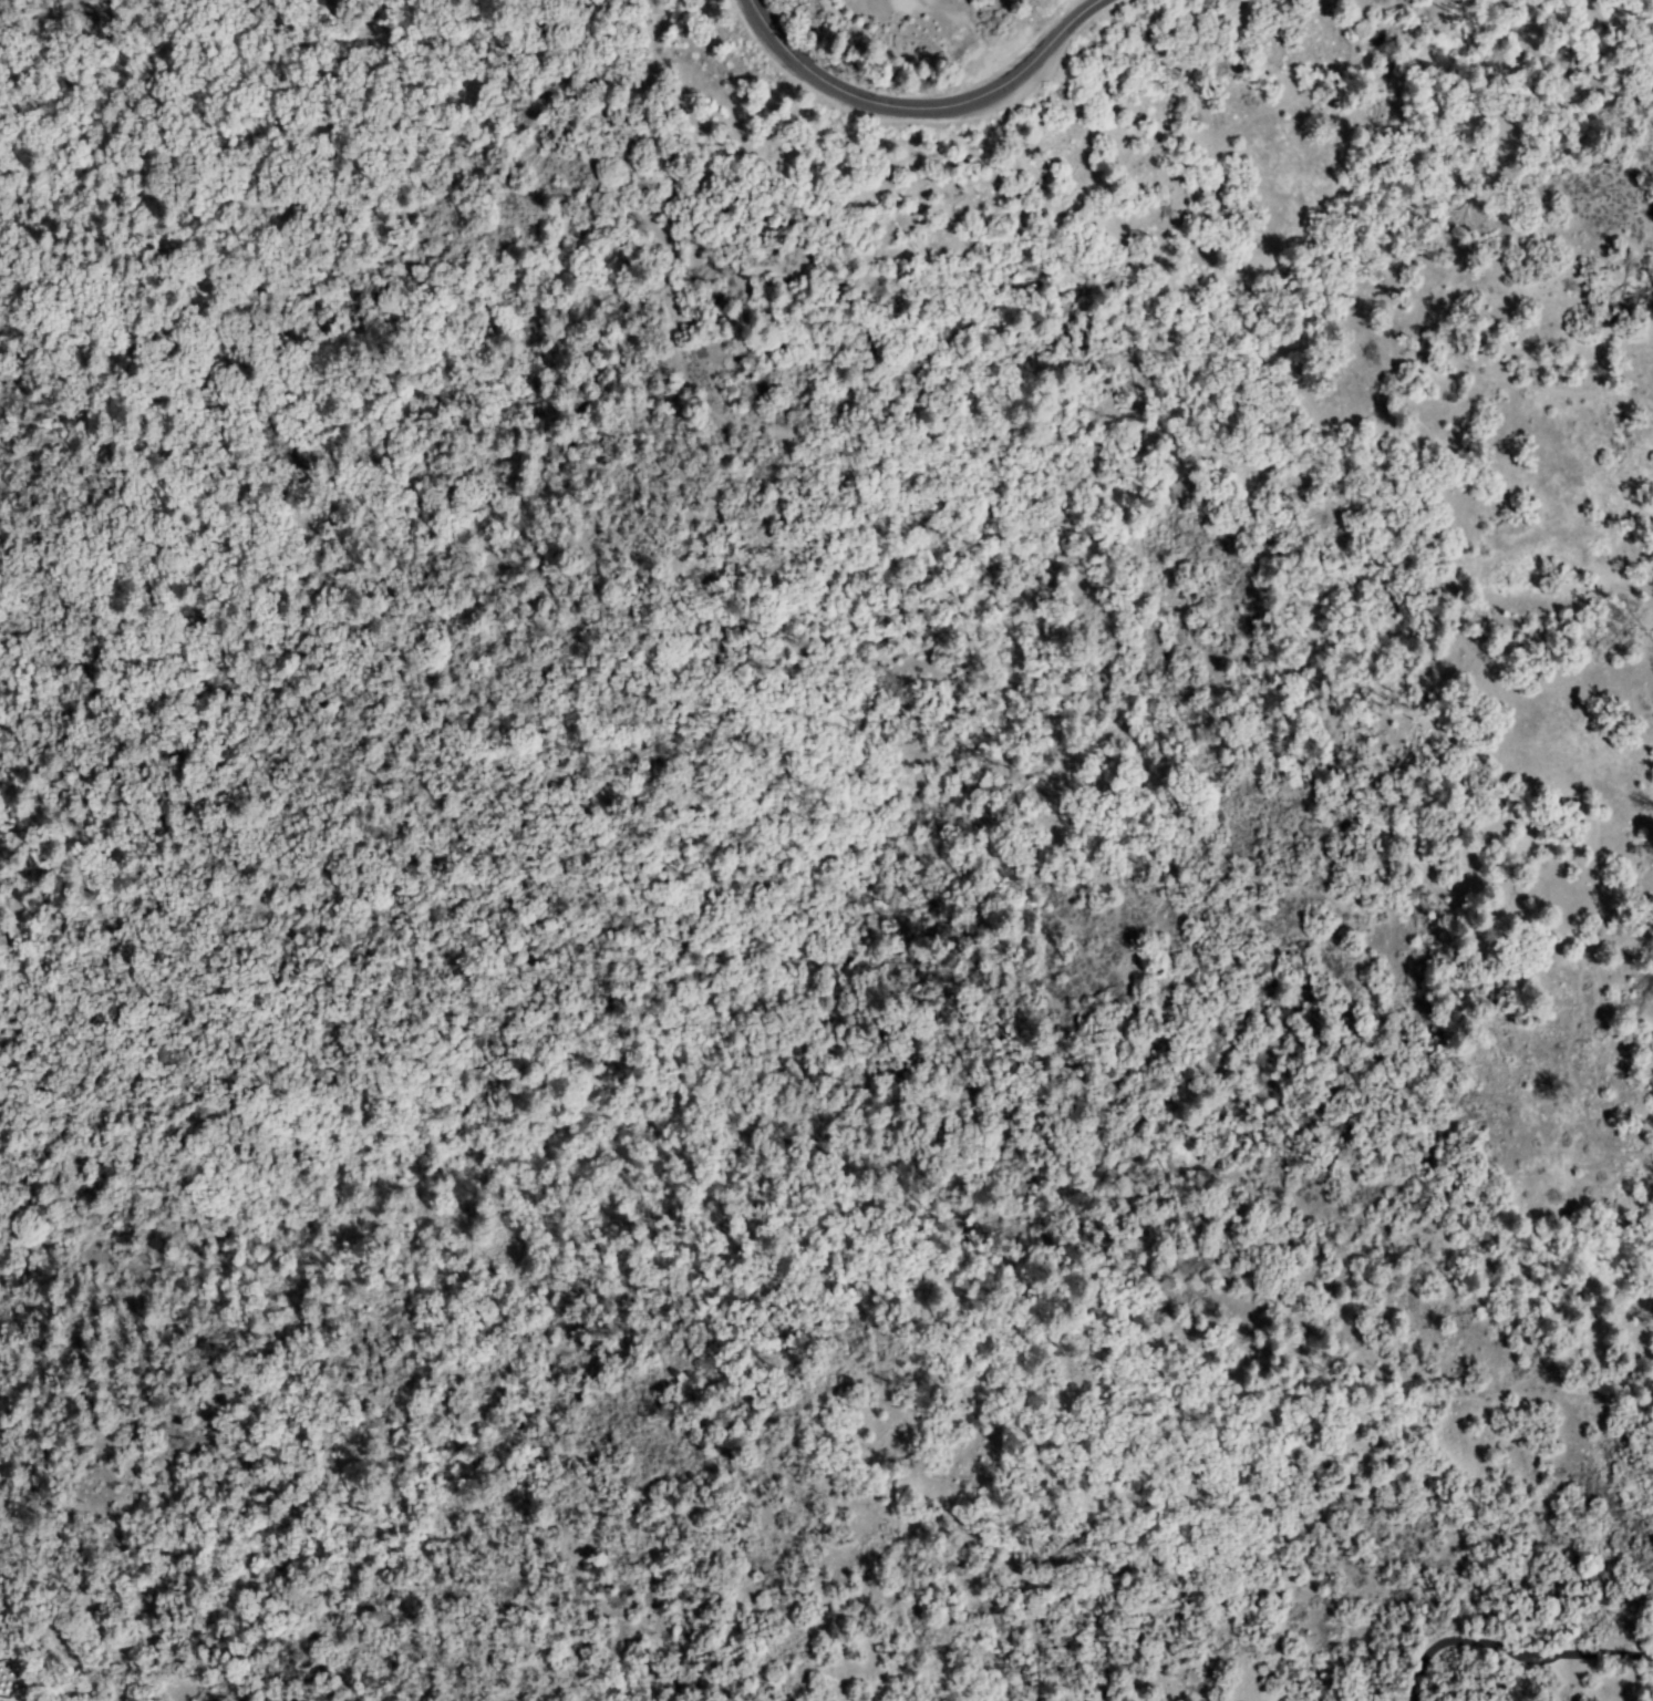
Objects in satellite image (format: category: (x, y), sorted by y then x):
road: (919, 111)
road: (896, 1648)
road: (1601, 1659)

